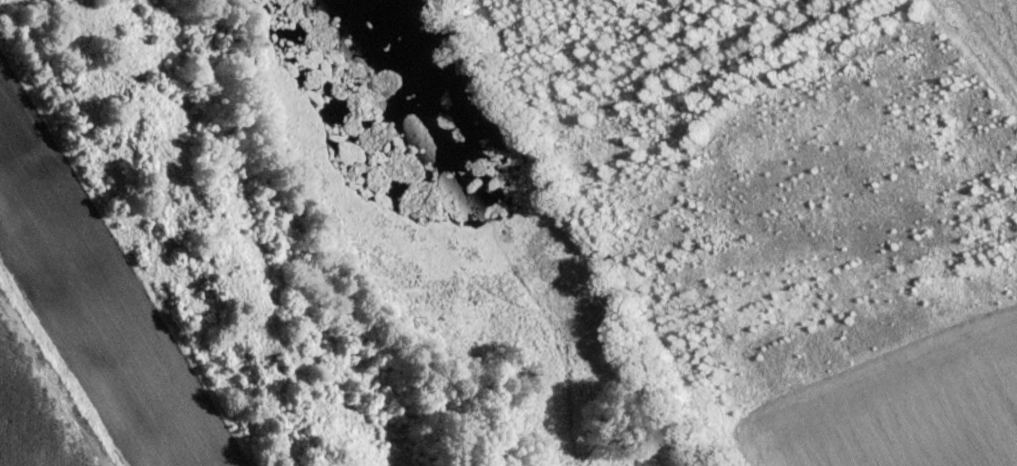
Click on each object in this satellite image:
road: (127, 257)

